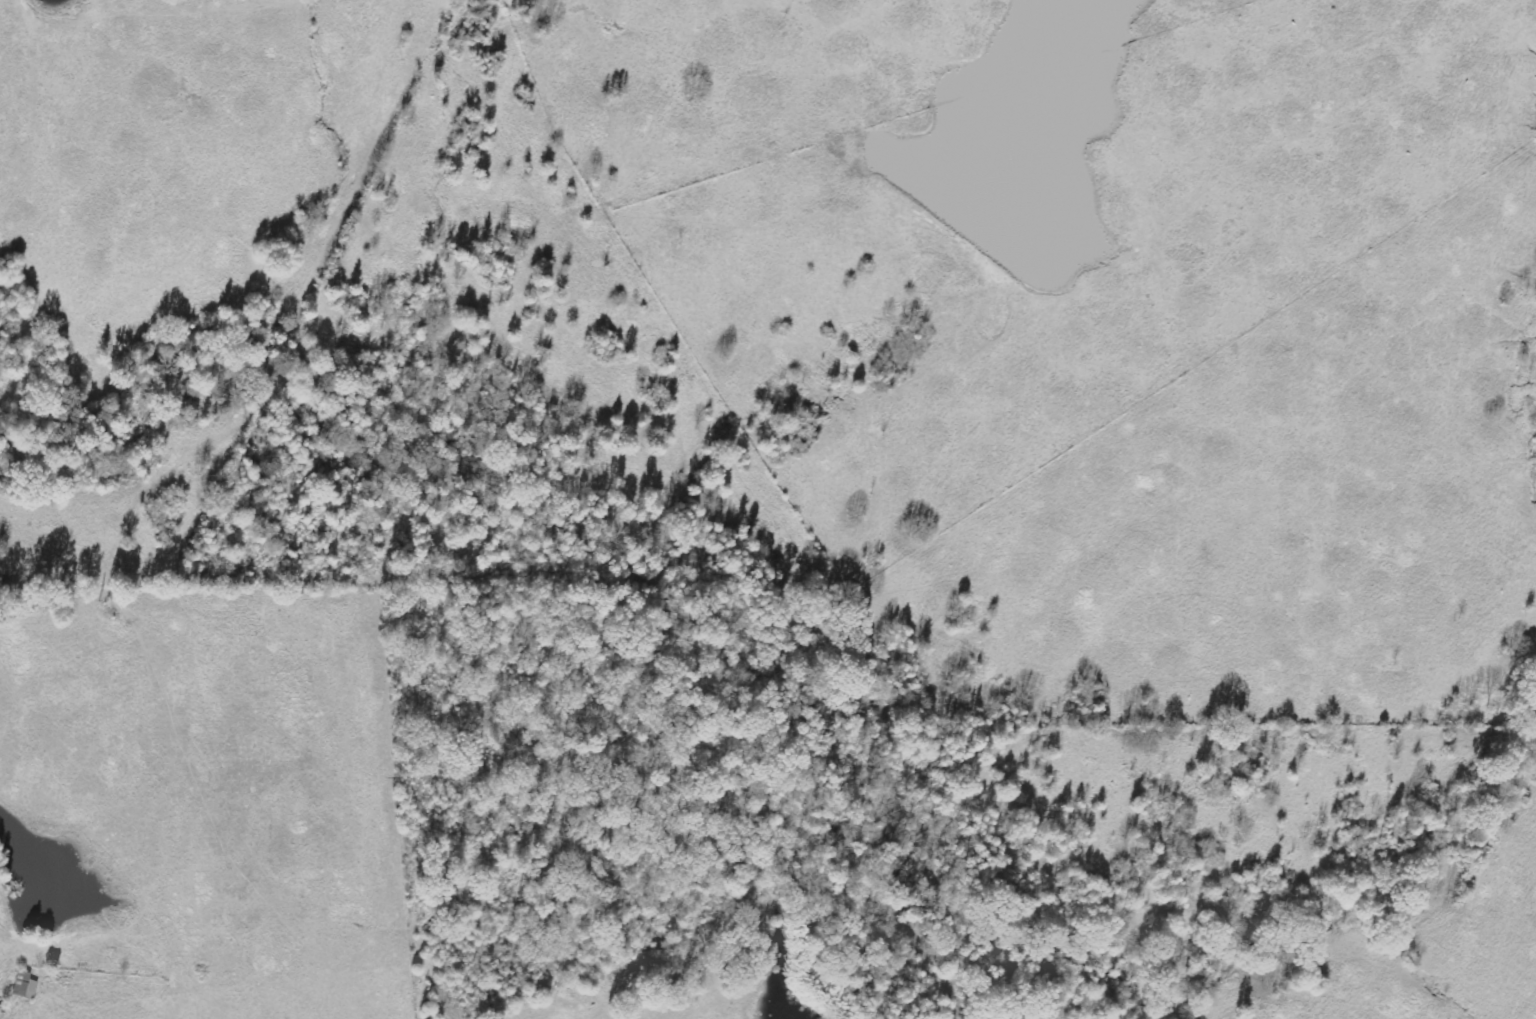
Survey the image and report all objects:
building: (26, 986)

